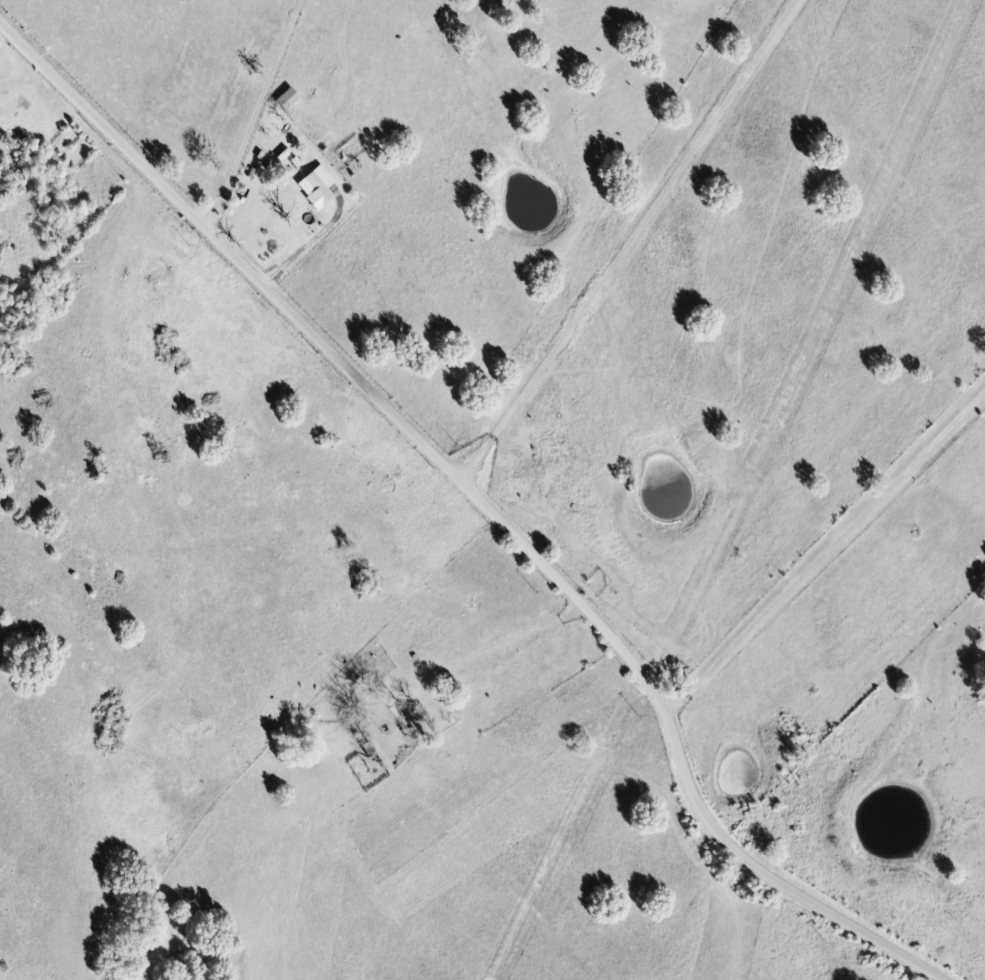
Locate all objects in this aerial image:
building: (290, 99)
building: (319, 186)
road: (487, 498)
road: (832, 532)

